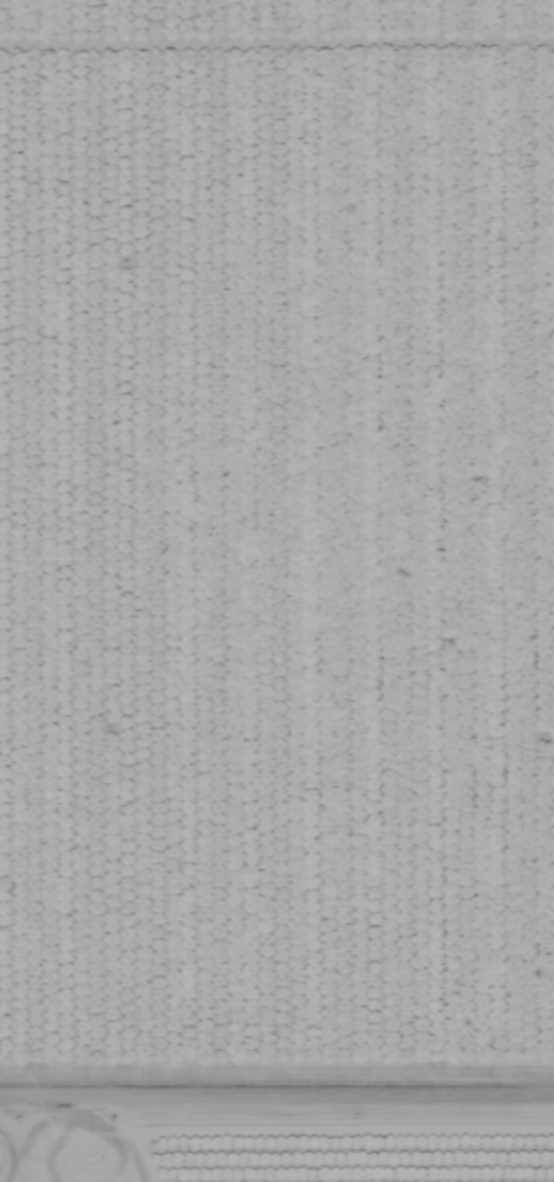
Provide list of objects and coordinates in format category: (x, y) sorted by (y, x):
road: (276, 1068)
road: (22, 1121)
crop: (35, 1154)
crop: (345, 1154)

